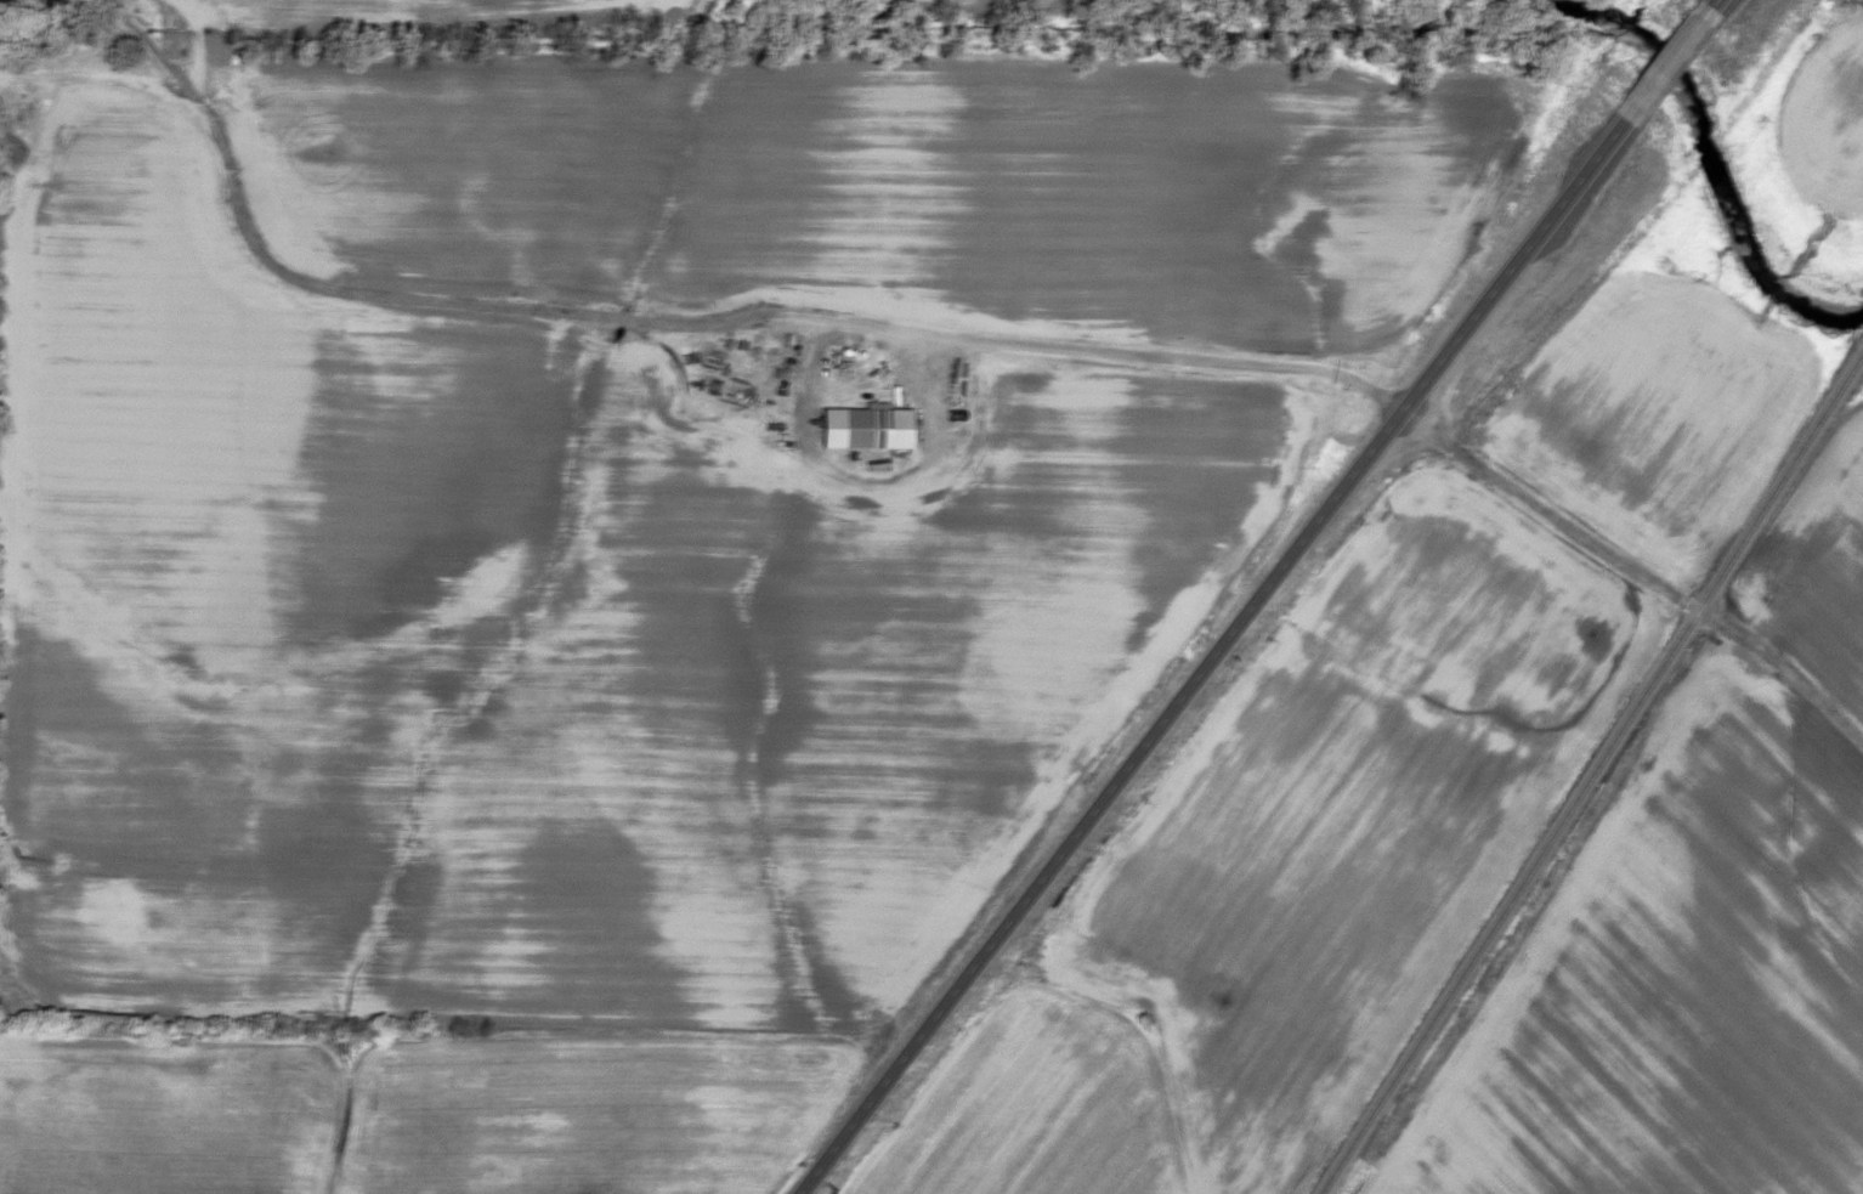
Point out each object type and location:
road: (1710, 2)
road: (1665, 63)
road: (857, 329)
building: (873, 428)
road: (1635, 571)
road: (1210, 657)
railway: (1587, 776)

